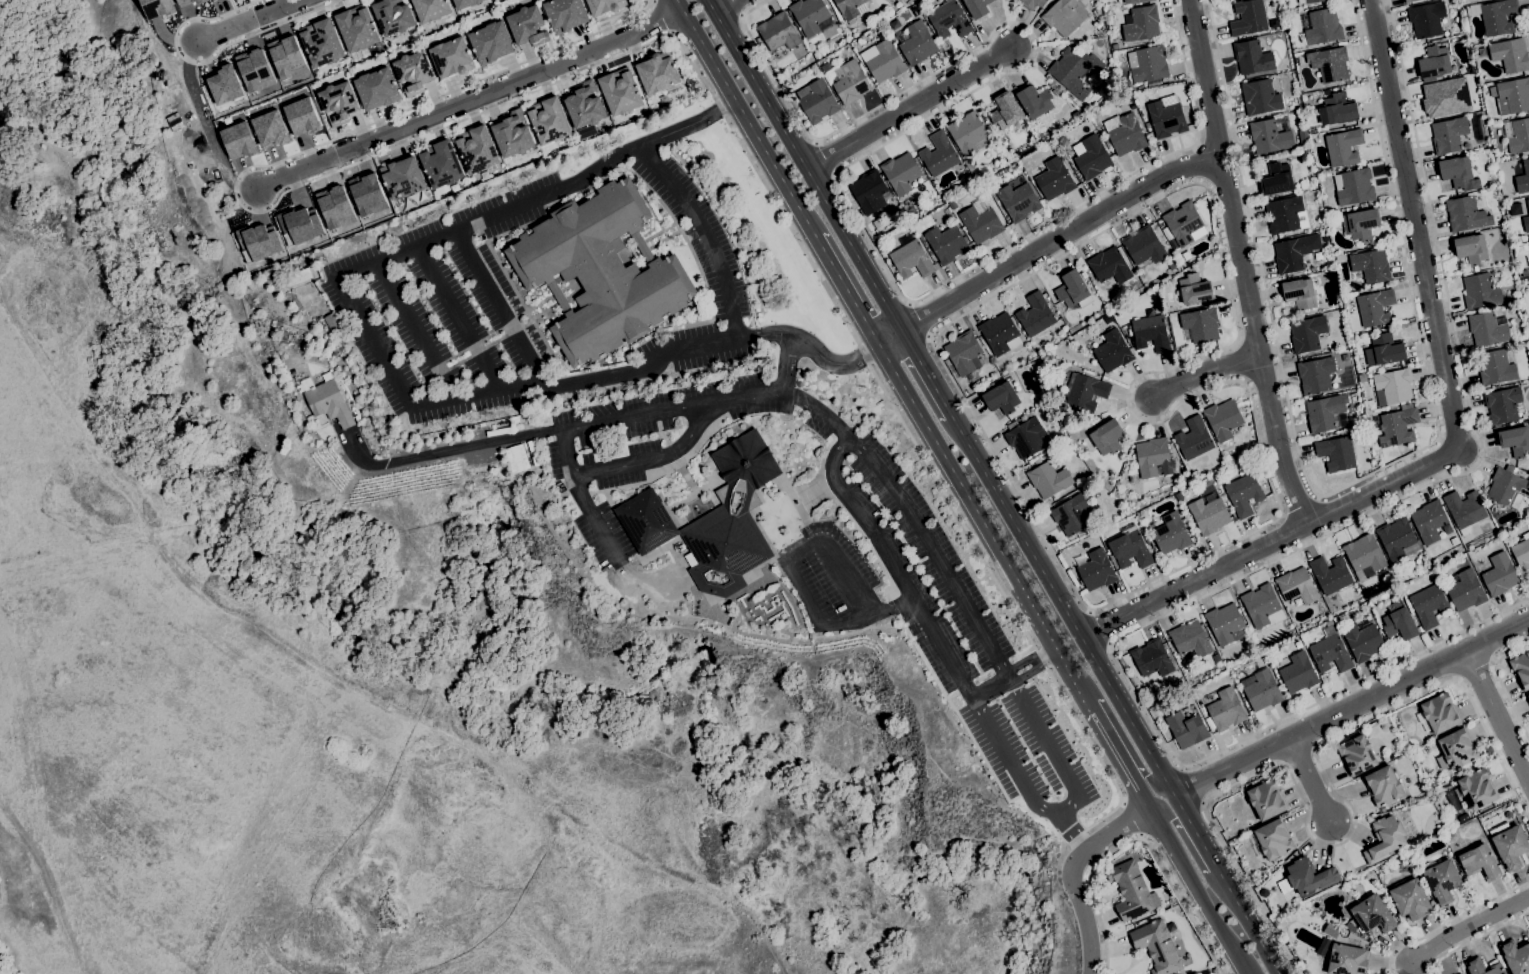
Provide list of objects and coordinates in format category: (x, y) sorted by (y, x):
building: (213, 0)
building: (200, 1)
building: (1131, 1)
building: (1308, 1)
building: (1408, 1)
building: (184, 2)
building: (1049, 2)
building: (465, 3)
building: (1029, 3)
building: (1163, 3)
building: (605, 6)
road: (724, 6)
building: (977, 7)
building: (157, 8)
building: (431, 9)
building: (851, 9)
building: (564, 14)
building: (393, 16)
building: (811, 16)
building: (1062, 16)
building: (1495, 16)
building: (1248, 17)
building: (1426, 18)
building: (949, 19)
road: (248, 20)
building: (1141, 23)
building: (527, 26)
building: (1323, 26)
building: (357, 28)
building: (778, 32)
road: (670, 34)
building: (321, 42)
building: (490, 42)
building: (917, 43)
building: (1482, 52)
building: (1510, 54)
building: (285, 57)
building: (451, 57)
building: (1252, 57)
road: (207, 59)
building: (883, 60)
building: (1434, 62)
building: (1147, 64)
building: (1330, 64)
building: (825, 67)
building: (813, 68)
building: (254, 70)
building: (1075, 71)
building: (413, 72)
building: (659, 74)
building: (1471, 80)
building: (786, 82)
building: (849, 82)
building: (1152, 82)
building: (224, 85)
building: (1054, 86)
building: (376, 88)
building: (620, 91)
building: (1327, 92)
building: (1442, 96)
building: (1513, 96)
road: (470, 97)
building: (1126, 97)
building: (1260, 97)
building: (1059, 98)
building: (817, 101)
building: (1035, 101)
building: (339, 102)
building: (1077, 103)
building: (584, 105)
building: (1130, 107)
building: (1140, 108)
road: (908, 110)
building: (1006, 110)
building: (1337, 110)
building: (1076, 115)
building: (300, 116)
building: (1166, 116)
road: (745, 118)
building: (548, 120)
road: (205, 124)
building: (269, 129)
building: (969, 133)
building: (1125, 133)
building: (512, 134)
building: (1448, 135)
building: (1517, 135)
building: (1303, 136)
building: (1269, 137)
building: (237, 139)
building: (1343, 147)
building: (1051, 148)
building: (476, 149)
building: (938, 154)
road: (862, 157)
building: (1091, 157)
road: (1200, 163)
building: (441, 165)
road: (803, 166)
building: (1492, 166)
building: (902, 173)
building: (1458, 173)
building: (403, 177)
building: (1523, 178)
building: (1054, 179)
building: (1277, 179)
building: (1492, 183)
building: (1354, 187)
building: (870, 192)
building: (366, 194)
building: (993, 195)
building: (1018, 201)
building: (1527, 202)
building: (1363, 205)
building: (333, 207)
building: (954, 211)
building: (1283, 214)
building: (1466, 214)
building: (1183, 222)
building: (1526, 223)
building: (878, 224)
building: (980, 224)
building: (1362, 224)
building: (298, 225)
road: (704, 233)
road: (1058, 238)
building: (1324, 238)
building: (256, 242)
building: (947, 243)
building: (1174, 246)
building: (1143, 247)
building: (1527, 247)
building: (1471, 248)
building: (1294, 252)
building: (1318, 256)
building: (1340, 257)
building: (911, 258)
road: (1240, 263)
building: (1173, 264)
building: (1371, 265)
building: (1109, 266)
building: (600, 272)
building: (1525, 272)
building: (1083, 274)
building: (298, 277)
building: (1195, 289)
building: (1073, 290)
road: (847, 291)
building: (1479, 291)
building: (1300, 293)
building: (308, 299)
road: (498, 306)
building: (1375, 307)
building: (1035, 314)
road: (457, 318)
building: (1109, 318)
road: (918, 319)
building: (331, 321)
building: (1201, 324)
building: (1488, 328)
road: (415, 330)
building: (1150, 332)
building: (1000, 333)
building: (1308, 334)
road: (890, 338)
building: (1387, 349)
building: (1112, 351)
building: (964, 354)
building: (1345, 355)
road: (786, 363)
road: (387, 366)
building: (1496, 367)
road: (1203, 372)
road: (927, 375)
building: (1315, 375)
building: (1362, 378)
building: (1333, 380)
building: (1393, 387)
road: (1208, 388)
building: (1085, 391)
building: (1000, 397)
building: (327, 400)
building: (1502, 404)
building: (1324, 412)
building: (1223, 419)
road: (614, 421)
building: (1398, 426)
road: (1457, 430)
building: (1026, 436)
building: (1057, 436)
building: (1107, 437)
building: (1193, 438)
building: (1515, 440)
building: (1085, 446)
building: (1401, 448)
road: (447, 451)
building: (1336, 453)
building: (1151, 456)
building: (516, 457)
building: (1176, 458)
building: (1233, 458)
road: (653, 459)
building: (1182, 459)
building: (1048, 478)
road: (1350, 484)
building: (1508, 487)
road: (893, 488)
building: (1184, 493)
building: (1244, 494)
road: (1299, 506)
building: (1464, 510)
building: (1071, 514)
building: (1209, 515)
road: (592, 517)
building: (730, 520)
building: (645, 521)
building: (1429, 521)
road: (986, 528)
building: (1446, 528)
building: (1171, 534)
building: (1397, 536)
building: (1147, 541)
building: (1454, 541)
building: (1130, 550)
building: (1522, 553)
building: (1364, 556)
road: (1270, 562)
building: (1096, 570)
building: (1331, 574)
building: (1499, 574)
road: (792, 578)
building: (1297, 586)
building: (1466, 591)
building: (1427, 603)
building: (1262, 606)
building: (1399, 622)
building: (1328, 623)
building: (1225, 624)
road: (1101, 628)
road: (929, 631)
building: (1303, 636)
building: (1192, 640)
building: (1363, 641)
building: (1223, 654)
building: (1330, 654)
building: (1151, 658)
building: (1521, 669)
road: (1475, 670)
road: (1011, 673)
building: (1298, 673)
road: (1500, 682)
building: (1261, 690)
road: (1115, 696)
building: (1527, 698)
road: (1351, 708)
building: (1225, 709)
building: (1438, 714)
road: (1497, 717)
building: (1383, 726)
building: (1186, 729)
road: (1119, 735)
building: (1458, 748)
building: (1356, 755)
road: (1119, 760)
building: (1442, 762)
road: (1057, 763)
road: (1308, 777)
road: (1191, 784)
building: (1383, 785)
building: (1477, 788)
building: (1458, 792)
building: (1266, 800)
building: (1508, 814)
building: (1517, 815)
building: (1467, 816)
road: (1131, 818)
road: (1352, 830)
road: (1106, 835)
road: (1139, 835)
building: (1452, 836)
building: (1385, 839)
building: (1273, 840)
building: (1509, 844)
road: (1191, 849)
building: (1480, 862)
building: (1307, 877)
building: (1441, 881)
building: (1131, 890)
road: (1194, 891)
building: (1264, 893)
building: (1410, 899)
building: (1371, 913)
road: (1084, 920)
road: (1450, 922)
road: (1468, 928)
building: (1329, 930)
road: (1476, 941)
building: (1157, 947)
building: (1516, 956)
building: (1346, 959)
building: (1482, 967)
building: (1460, 973)

